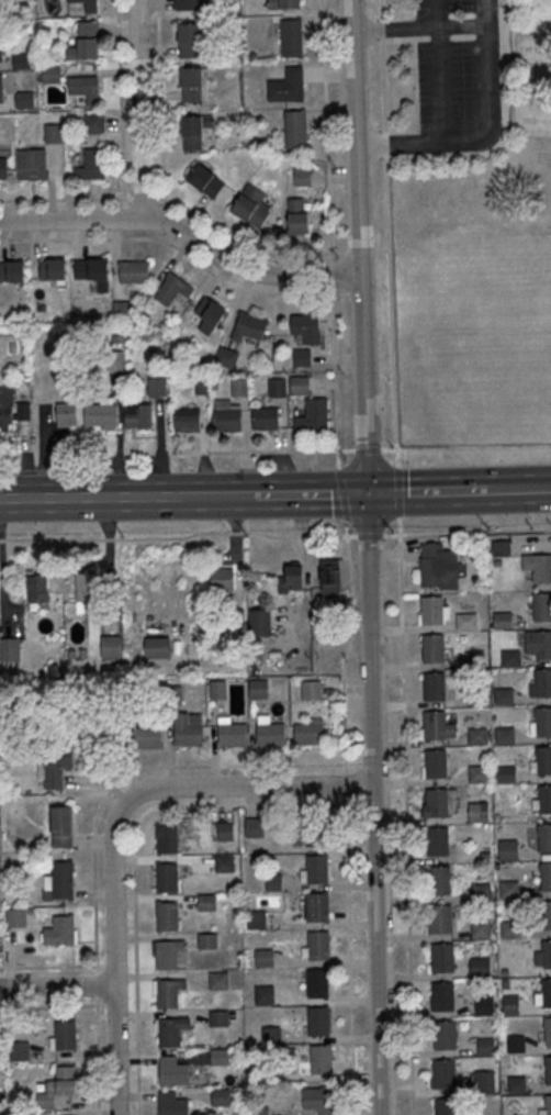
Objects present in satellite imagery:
building: (80, 4)
building: (189, 4)
building: (291, 4)
building: (1, 10)
road: (451, 27)
road: (383, 29)
building: (87, 38)
building: (292, 40)
building: (190, 42)
building: (1, 48)
building: (21, 60)
parking lot: (448, 66)
road: (440, 71)
building: (50, 73)
building: (192, 85)
building: (82, 87)
building: (289, 87)
building: (1, 89)
building: (24, 99)
road: (490, 100)
road: (121, 103)
road: (161, 103)
road: (138, 110)
building: (93, 122)
road: (503, 129)
road: (326, 130)
building: (296, 131)
building: (53, 133)
building: (193, 134)
road: (392, 146)
building: (31, 163)
building: (91, 164)
building: (3, 169)
building: (301, 175)
building: (205, 180)
road: (66, 198)
road: (144, 198)
building: (251, 204)
road: (124, 213)
road: (165, 216)
building: (299, 218)
road: (184, 232)
road: (390, 232)
road: (244, 244)
road: (179, 247)
road: (357, 247)
road: (359, 252)
building: (52, 268)
building: (94, 268)
building: (12, 270)
building: (134, 271)
road: (331, 272)
building: (171, 288)
road: (353, 292)
building: (122, 308)
building: (209, 313)
road: (333, 323)
building: (249, 326)
building: (306, 326)
building: (226, 357)
building: (302, 357)
building: (300, 384)
building: (157, 387)
building: (278, 387)
building: (240, 388)
building: (5, 409)
building: (67, 414)
building: (314, 414)
building: (105, 415)
building: (138, 415)
road: (336, 415)
building: (227, 419)
building: (265, 419)
building: (188, 420)
road: (367, 448)
road: (389, 448)
road: (266, 449)
road: (530, 489)
road: (397, 490)
road: (487, 491)
road: (415, 493)
road: (341, 494)
road: (321, 495)
traffic signals: (366, 495)
road: (244, 497)
road: (105, 499)
road: (468, 532)
road: (369, 534)
road: (178, 537)
building: (501, 547)
building: (537, 568)
building: (431, 570)
building: (222, 577)
building: (329, 577)
building: (291, 580)
building: (36, 590)
building: (85, 591)
building: (541, 605)
building: (432, 610)
building: (502, 618)
building: (465, 620)
building: (259, 624)
building: (110, 644)
building: (538, 644)
road: (347, 646)
building: (157, 648)
building: (434, 648)
building: (10, 650)
building: (510, 657)
building: (474, 658)
road: (402, 666)
building: (540, 682)
building: (435, 685)
building: (218, 690)
building: (259, 690)
building: (312, 690)
building: (175, 694)
building: (503, 695)
building: (476, 696)
building: (542, 722)
building: (436, 725)
building: (187, 732)
building: (233, 734)
building: (271, 734)
building: (308, 734)
building: (477, 735)
building: (504, 735)
building: (148, 737)
building: (543, 760)
road: (366, 762)
building: (436, 763)
building: (54, 766)
road: (137, 770)
building: (477, 773)
building: (505, 773)
road: (345, 781)
building: (544, 799)
road: (366, 803)
building: (437, 803)
road: (373, 805)
building: (477, 811)
building: (61, 826)
building: (255, 828)
building: (225, 829)
road: (111, 832)
building: (168, 838)
building: (543, 838)
building: (439, 840)
building: (508, 849)
road: (134, 852)
building: (225, 863)
building: (317, 869)
building: (546, 876)
building: (168, 878)
building: (439, 880)
building: (63, 881)
building: (274, 882)
building: (509, 889)
building: (481, 891)
building: (207, 902)
building: (317, 907)
building: (546, 915)
building: (168, 916)
building: (15, 917)
building: (440, 918)
building: (256, 921)
building: (480, 927)
building: (509, 928)
building: (60, 932)
building: (207, 941)
building: (318, 946)
road: (349, 955)
building: (547, 955)
building: (166, 956)
building: (442, 957)
building: (265, 958)
road: (412, 963)
road: (52, 966)
road: (109, 966)
building: (480, 967)
building: (218, 981)
road: (97, 984)
building: (317, 984)
road: (57, 986)
building: (547, 993)
building: (168, 994)
building: (265, 995)
building: (442, 996)
road: (110, 1004)
building: (483, 1004)
building: (510, 1004)
road: (53, 1005)
building: (218, 1018)
building: (318, 1022)
building: (547, 1032)
building: (170, 1033)
building: (66, 1035)
building: (271, 1035)
building: (445, 1035)
building: (515, 1042)
building: (19, 1050)
road: (97, 1055)
building: (220, 1058)
building: (321, 1058)
building: (548, 1070)
building: (173, 1072)
building: (443, 1074)
building: (67, 1081)
building: (485, 1083)
building: (516, 1083)
building: (221, 1096)
building: (318, 1100)
building: (172, 1104)
building: (548, 1105)
building: (446, 1106)
building: (260, 1111)

